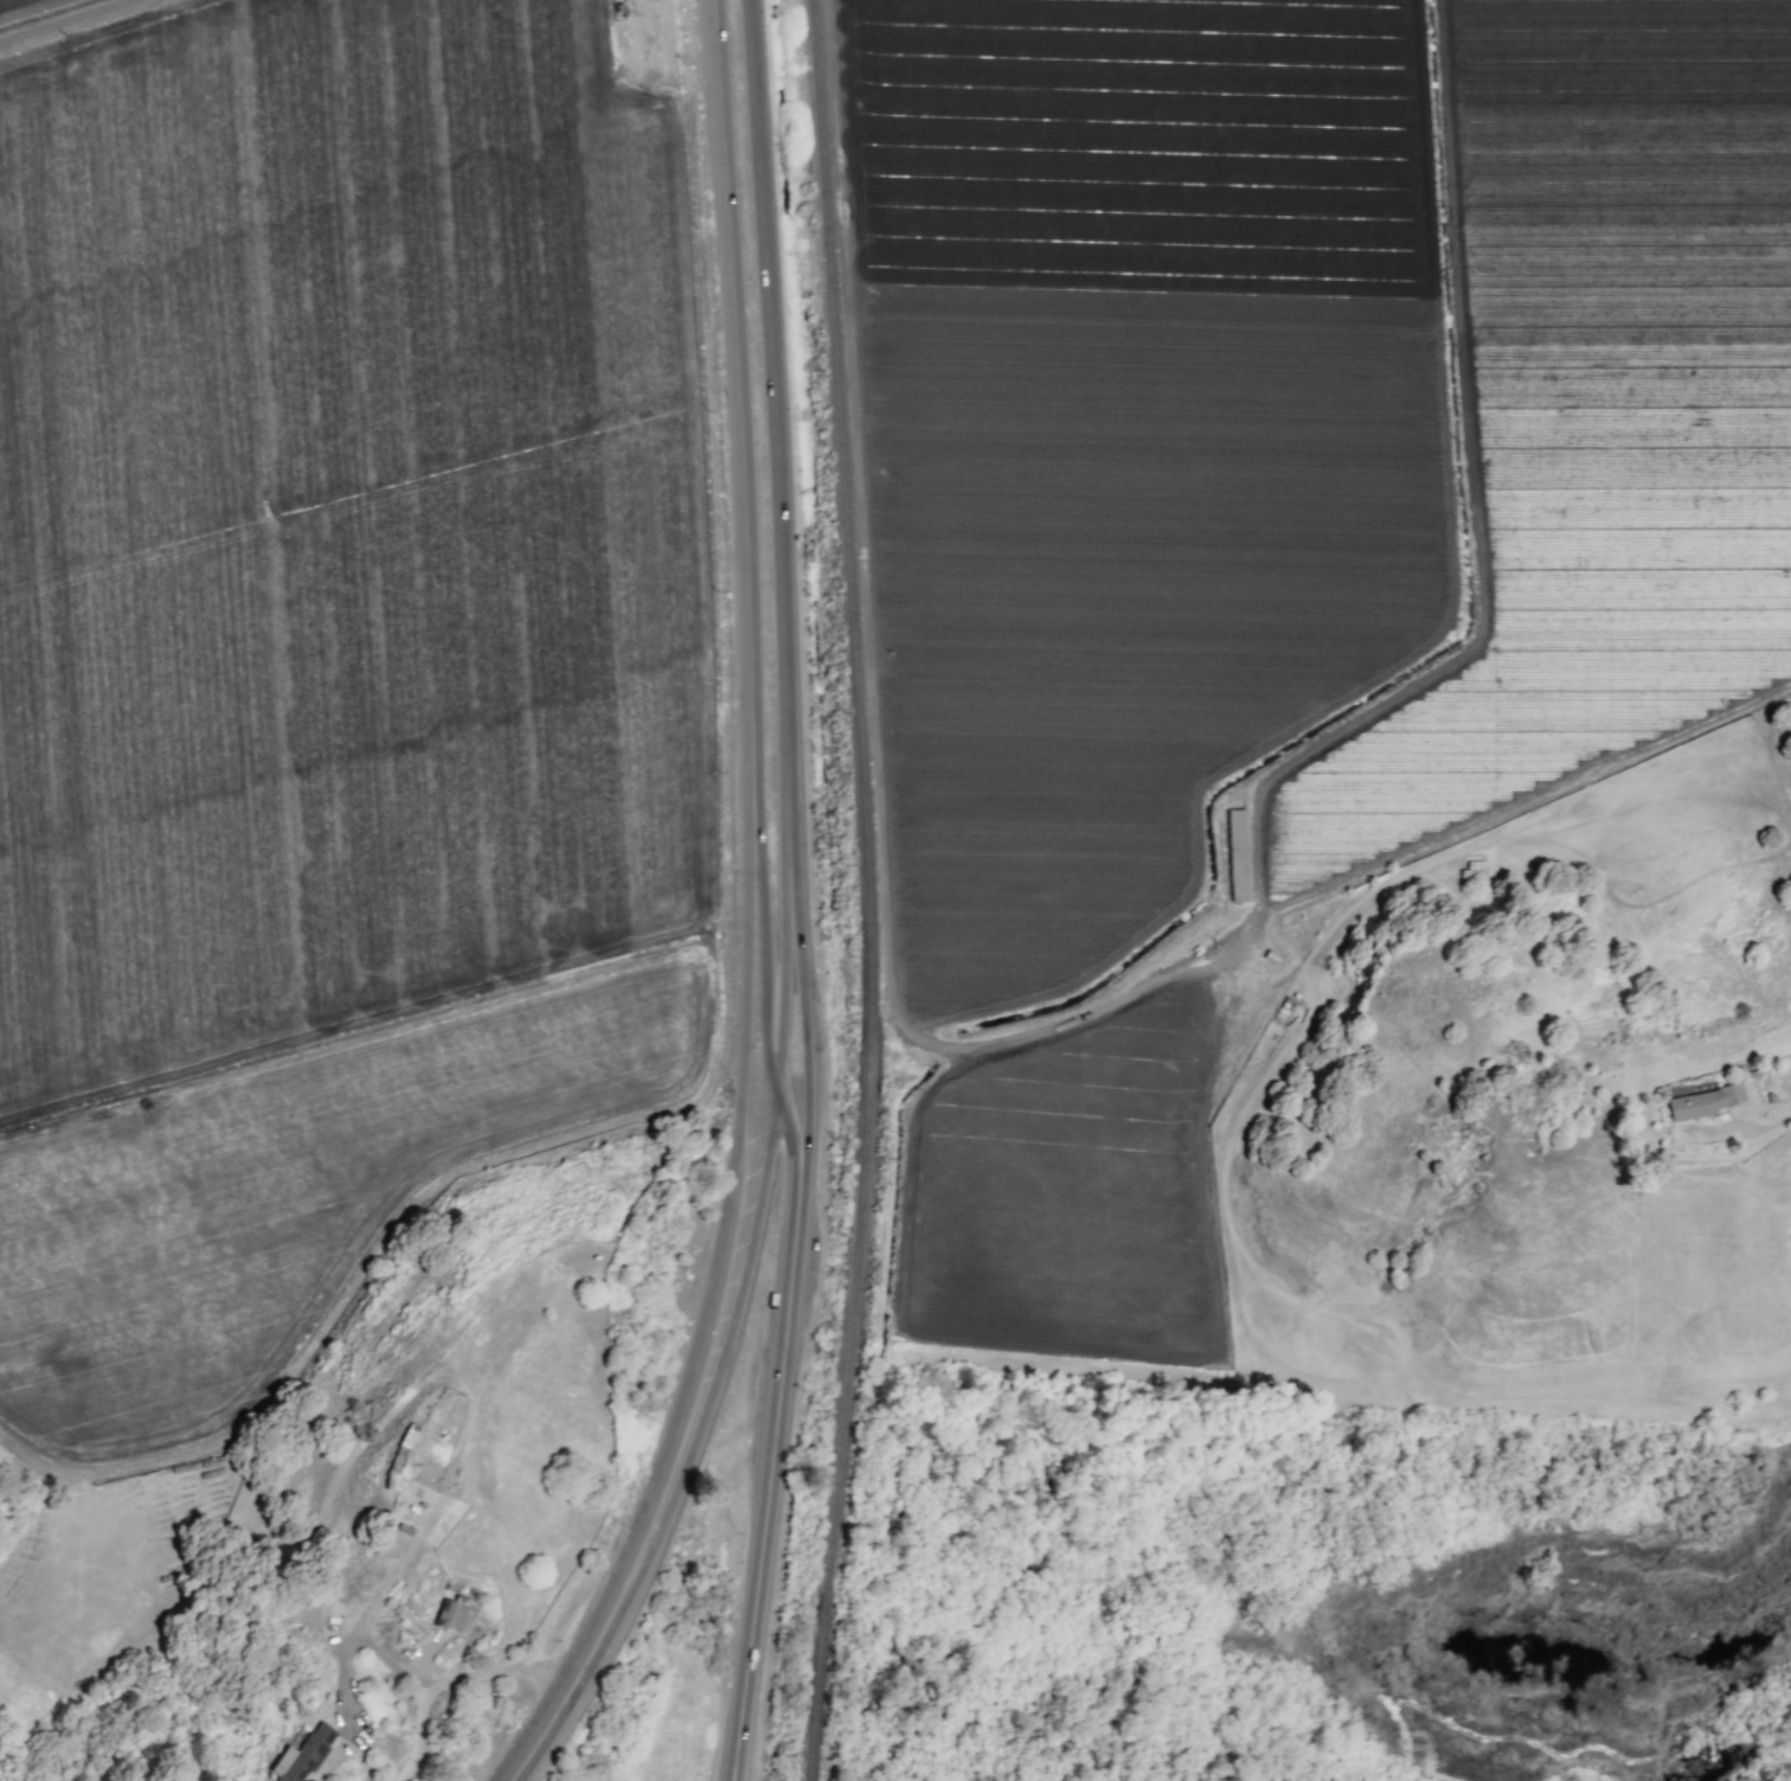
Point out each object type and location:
road: (70, 23)
road: (732, 385)
road: (766, 434)
crop: (1266, 545)
crop: (336, 666)
building: (1237, 854)
railway: (869, 890)
road: (766, 965)
road: (801, 1010)
building: (1703, 1101)
road: (1786, 1111)
road: (737, 1159)
road: (758, 1211)
road: (770, 1467)
building: (450, 1614)
road: (349, 1635)
road: (584, 1661)
road: (450, 1677)
building: (300, 1754)

